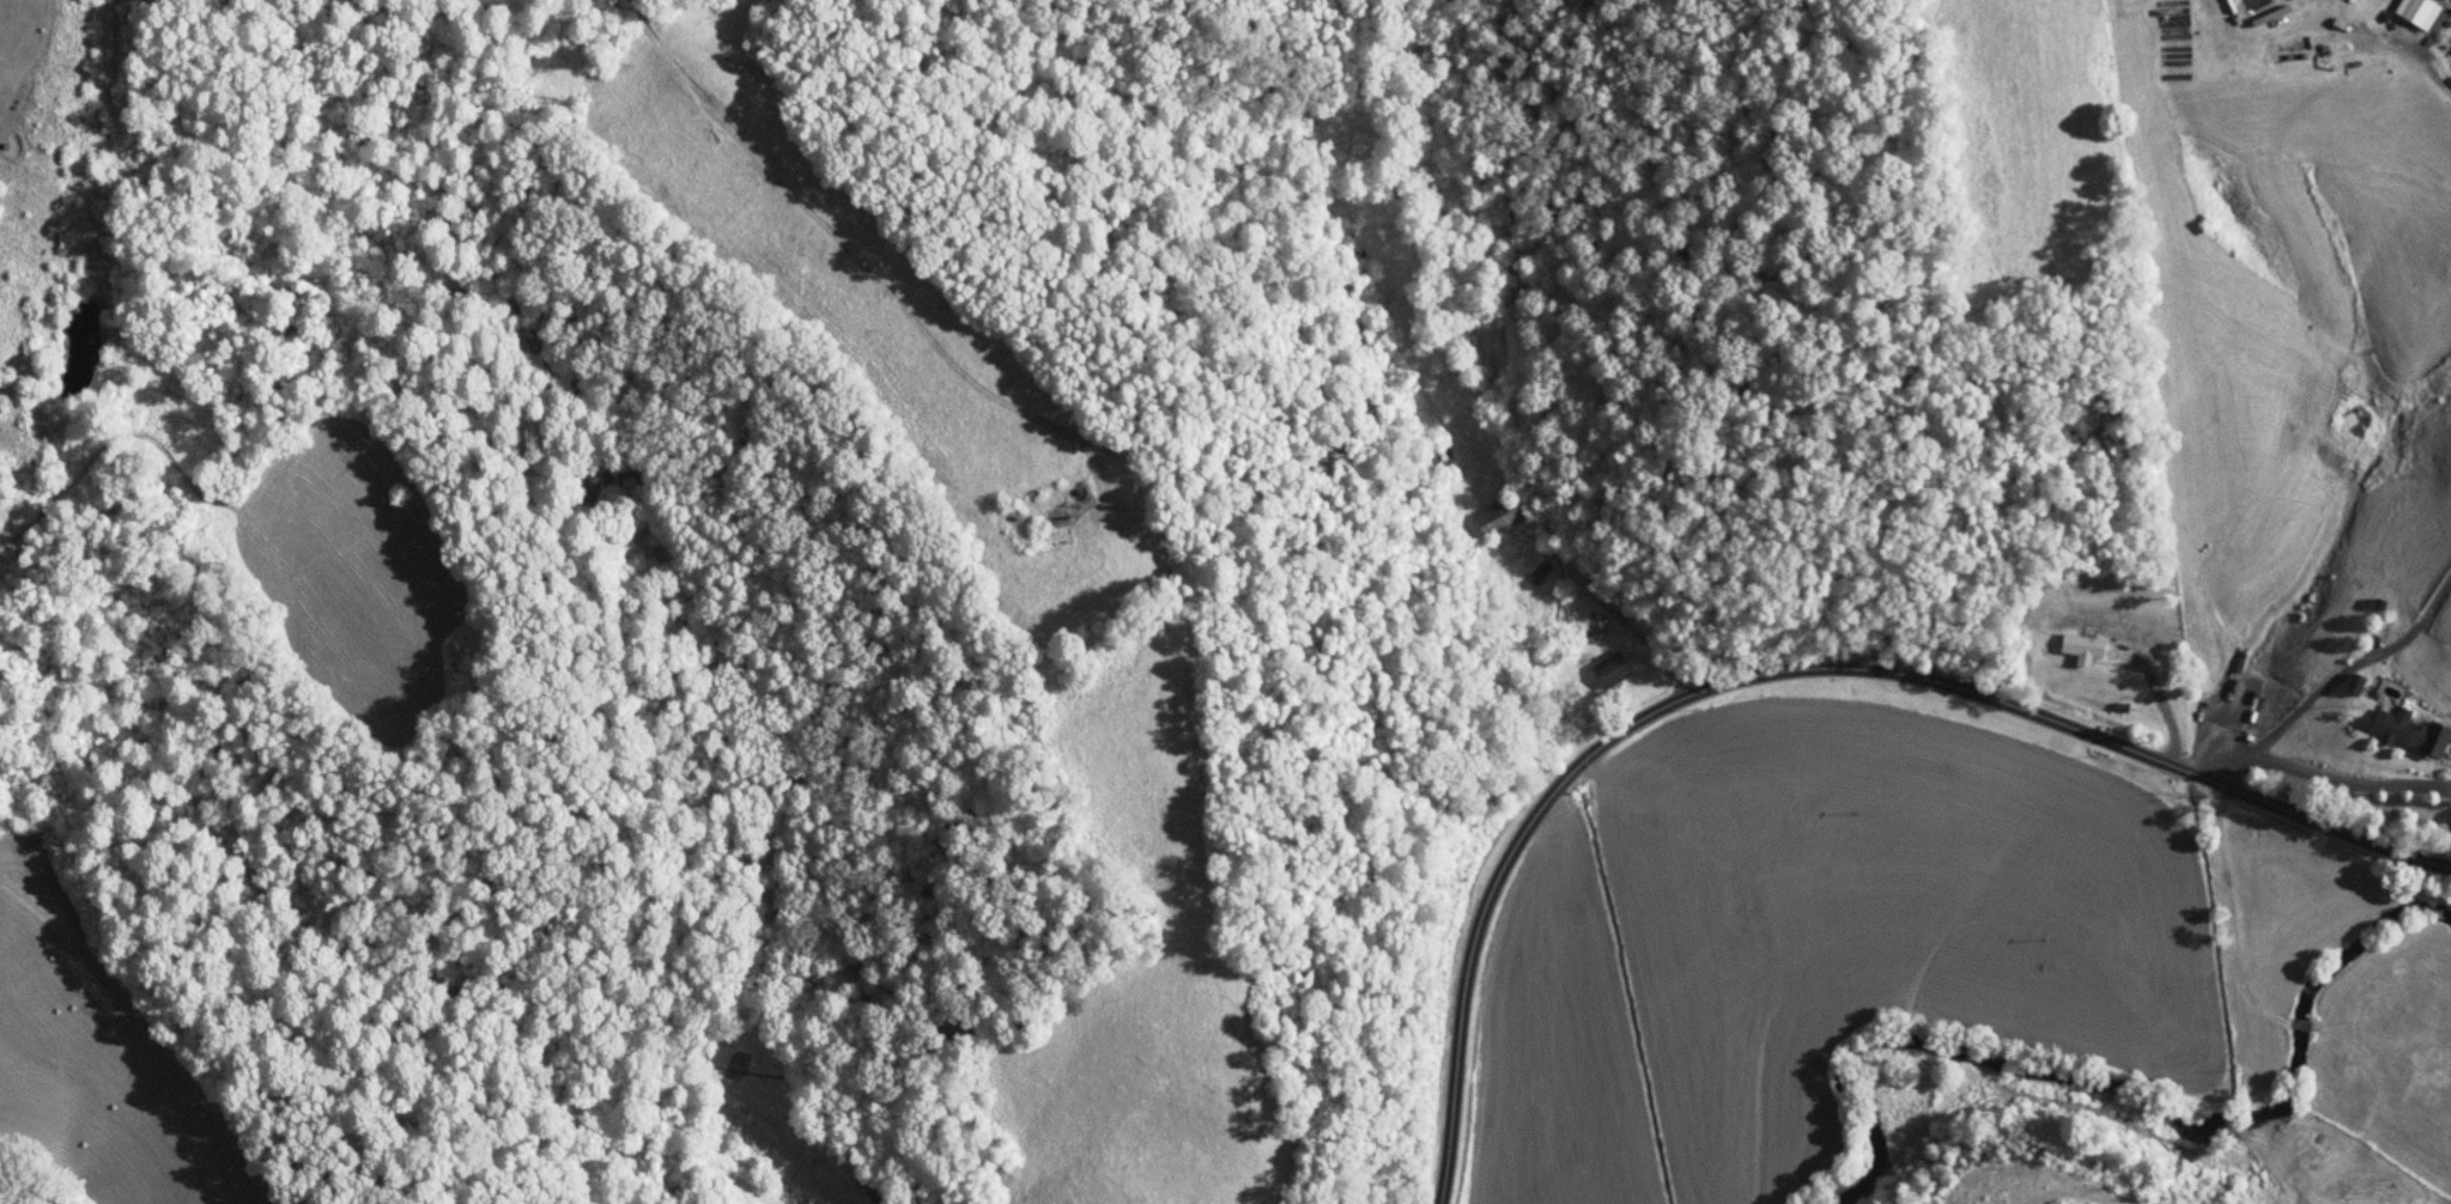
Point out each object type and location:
building: (2411, 12)
building: (2074, 645)
road: (1779, 667)
building: (2404, 730)
road: (148, 1027)

